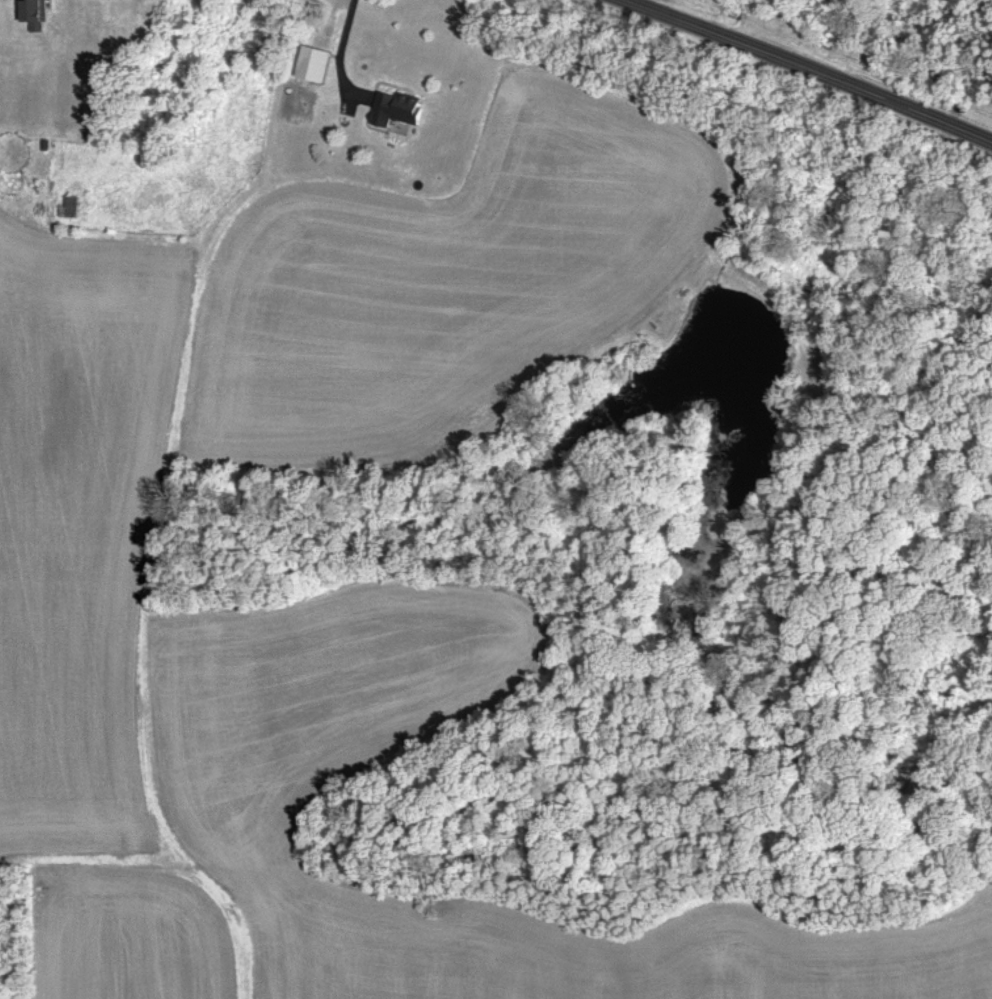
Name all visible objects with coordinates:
building: (37, 14)
road: (337, 49)
building: (315, 64)
road: (805, 69)
building: (398, 109)

